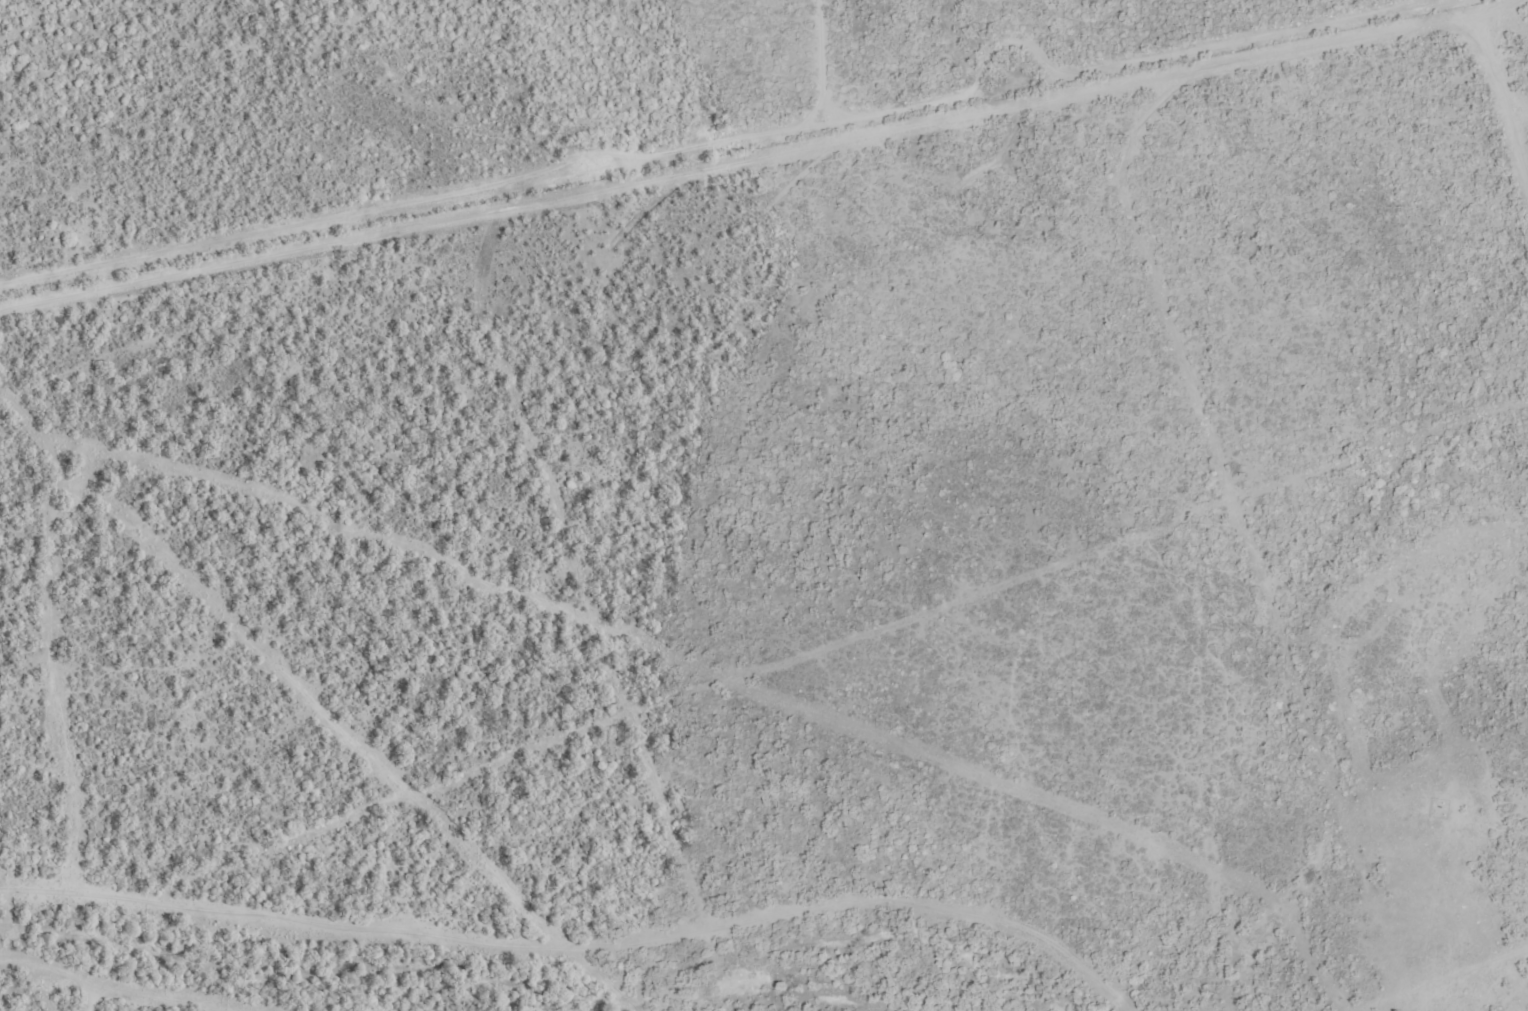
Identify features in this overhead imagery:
road: (760, 157)

